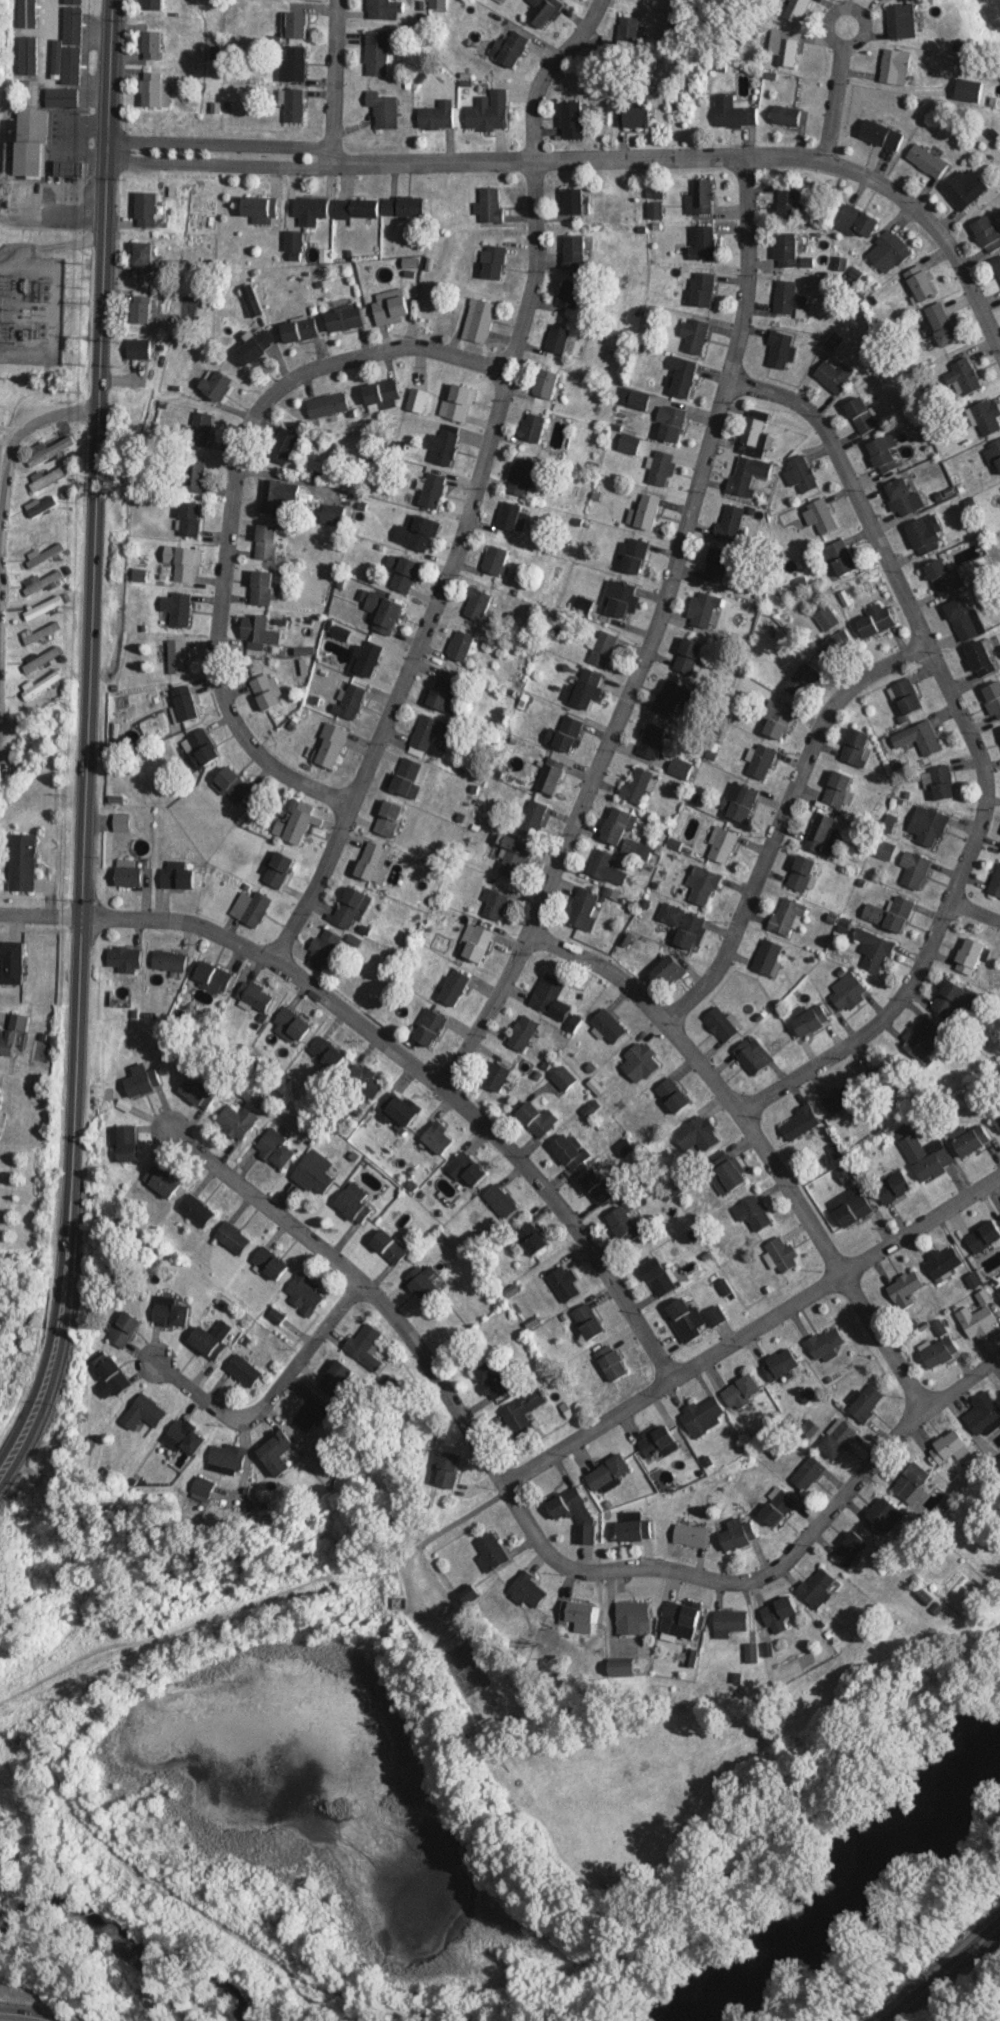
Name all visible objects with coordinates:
building: (73, 4)
building: (438, 4)
building: (154, 5)
road: (847, 6)
building: (385, 9)
building: (797, 10)
building: (545, 12)
building: (902, 21)
building: (296, 26)
building: (631, 32)
building: (27, 37)
building: (679, 43)
building: (153, 45)
building: (784, 46)
building: (511, 48)
building: (73, 49)
building: (377, 53)
building: (294, 63)
building: (895, 66)
road: (331, 81)
building: (155, 90)
building: (969, 90)
building: (29, 93)
building: (62, 96)
road: (830, 101)
building: (294, 105)
building: (384, 110)
building: (735, 112)
building: (489, 113)
building: (437, 116)
building: (787, 116)
building: (637, 117)
building: (573, 120)
building: (882, 134)
road: (111, 139)
road: (223, 142)
building: (25, 144)
road: (712, 154)
road: (110, 160)
building: (926, 160)
road: (222, 163)
building: (67, 168)
gas station: (67, 168)
building: (964, 188)
building: (703, 197)
building: (574, 202)
building: (789, 202)
building: (404, 206)
building: (490, 206)
building: (357, 208)
building: (146, 209)
building: (261, 210)
building: (311, 210)
building: (856, 220)
road: (50, 224)
building: (987, 235)
building: (702, 242)
building: (787, 250)
building: (889, 252)
building: (575, 253)
building: (144, 257)
building: (495, 263)
building: (998, 266)
building: (921, 283)
building: (703, 290)
building: (570, 294)
building: (789, 299)
building: (252, 300)
building: (391, 304)
building: (142, 310)
building: (186, 310)
building: (345, 319)
building: (479, 321)
building: (942, 324)
building: (300, 330)
building: (694, 335)
building: (559, 339)
building: (255, 348)
building: (140, 349)
building: (781, 350)
building: (835, 375)
building: (967, 375)
building: (681, 377)
building: (546, 384)
building: (216, 386)
building: (383, 395)
building: (417, 401)
building: (458, 403)
building: (328, 406)
building: (862, 416)
building: (988, 417)
building: (671, 422)
building: (532, 428)
building: (202, 430)
building: (628, 444)
building: (285, 446)
building: (444, 446)
road: (6, 450)
building: (49, 451)
building: (993, 453)
building: (751, 455)
building: (884, 455)
building: (662, 468)
building: (195, 475)
building: (801, 475)
building: (521, 477)
building: (47, 479)
road: (473, 486)
building: (434, 492)
building: (276, 496)
building: (904, 497)
road: (228, 501)
building: (43, 507)
building: (645, 513)
building: (333, 516)
building: (820, 516)
building: (512, 517)
building: (190, 520)
building: (731, 522)
building: (45, 530)
building: (421, 534)
building: (926, 534)
building: (266, 543)
building: (633, 555)
building: (46, 556)
building: (840, 558)
building: (496, 560)
building: (185, 564)
building: (716, 565)
building: (403, 573)
building: (945, 577)
building: (44, 581)
building: (262, 588)
building: (620, 600)
building: (478, 605)
building: (46, 606)
building: (177, 608)
building: (704, 609)
building: (384, 612)
building: (877, 618)
building: (965, 618)
building: (258, 631)
building: (40, 632)
road: (649, 637)
building: (836, 645)
building: (461, 646)
building: (603, 648)
building: (177, 656)
building: (688, 656)
building: (42, 658)
building: (368, 659)
building: (981, 659)
building: (802, 679)
building: (41, 684)
building: (584, 689)
building: (267, 691)
building: (443, 691)
building: (908, 696)
building: (674, 698)
building: (993, 698)
building: (351, 700)
building: (185, 703)
building: (777, 718)
building: (429, 731)
building: (568, 733)
building: (923, 737)
road: (85, 739)
building: (654, 741)
building: (330, 745)
building: (856, 746)
building: (203, 747)
road: (974, 748)
building: (761, 761)
building: (680, 767)
building: (550, 775)
building: (406, 776)
building: (943, 782)
building: (637, 785)
building: (232, 786)
building: (838, 789)
building: (739, 801)
building: (532, 817)
road: (778, 817)
building: (389, 818)
building: (122, 822)
building: (296, 822)
building: (618, 826)
building: (928, 826)
building: (822, 833)
building: (721, 844)
building: (516, 857)
building: (23, 863)
building: (373, 863)
building: (600, 863)
building: (279, 870)
building: (916, 871)
building: (802, 873)
building: (129, 874)
building: (177, 876)
building: (703, 884)
building: (995, 884)
building: (494, 904)
building: (251, 908)
building: (350, 909)
road: (972, 911)
road: (39, 913)
building: (891, 913)
building: (582, 914)
road: (83, 915)
building: (788, 916)
building: (684, 925)
building: (478, 943)
building: (324, 949)
building: (874, 949)
building: (970, 956)
building: (124, 957)
building: (767, 957)
building: (169, 960)
building: (14, 963)
building: (668, 971)
building: (214, 976)
building: (455, 987)
building: (848, 992)
building: (255, 995)
building: (551, 996)
building: (954, 998)
building: (810, 1020)
building: (721, 1024)
building: (291, 1026)
building: (609, 1026)
building: (428, 1027)
building: (13, 1032)
building: (523, 1033)
building: (923, 1039)
building: (327, 1051)
building: (753, 1055)
building: (638, 1063)
building: (889, 1074)
building: (498, 1075)
road: (428, 1078)
building: (142, 1081)
building: (367, 1083)
building: (246, 1089)
building: (198, 1092)
building: (674, 1094)
building: (841, 1097)
building: (400, 1108)
building: (538, 1117)
building: (997, 1118)
building: (237, 1121)
building: (799, 1122)
building: (699, 1133)
building: (438, 1136)
building: (970, 1138)
building: (124, 1141)
building: (277, 1149)
building: (571, 1151)
building: (927, 1156)
building: (466, 1167)
building: (315, 1172)
building: (727, 1172)
building: (162, 1180)
building: (597, 1186)
building: (893, 1186)
building: (501, 1200)
building: (354, 1203)
building: (852, 1205)
building: (197, 1210)
building: (754, 1215)
building: (624, 1224)
building: (984, 1236)
building: (233, 1237)
building: (531, 1237)
building: (390, 1246)
building: (271, 1261)
building: (943, 1261)
building: (659, 1275)
building: (424, 1281)
building: (564, 1283)
building: (906, 1289)
building: (305, 1293)
building: (999, 1293)
building: (170, 1311)
building: (716, 1314)
building: (685, 1315)
building: (979, 1320)
building: (588, 1321)
road: (749, 1327)
building: (123, 1328)
building: (364, 1340)
building: (209, 1342)
building: (825, 1344)
building: (940, 1346)
building: (613, 1362)
building: (781, 1364)
building: (245, 1370)
building: (110, 1376)
building: (337, 1378)
building: (496, 1380)
road: (961, 1380)
building: (741, 1390)
road: (271, 1394)
building: (866, 1401)
building: (524, 1411)
building: (143, 1412)
building: (312, 1414)
building: (703, 1414)
building: (984, 1414)
building: (185, 1437)
building: (838, 1439)
building: (657, 1441)
building: (949, 1446)
building: (277, 1452)
building: (226, 1458)
building: (998, 1464)
building: (447, 1469)
building: (609, 1472)
building: (809, 1473)
building: (778, 1507)
building: (575, 1513)
building: (881, 1514)
building: (634, 1528)
building: (738, 1534)
building: (691, 1535)
building: (851, 1548)
building: (491, 1552)
road: (788, 1554)
building: (818, 1587)
building: (529, 1590)
building: (779, 1613)
building: (579, 1614)
building: (633, 1617)
building: (681, 1618)
building: (729, 1622)
river: (847, 1873)
road: (906, 1928)
river: (129, 1945)
park: (925, 1951)
railway: (939, 1968)
railway: (945, 1973)
road: (973, 1999)
road: (25, 2014)

